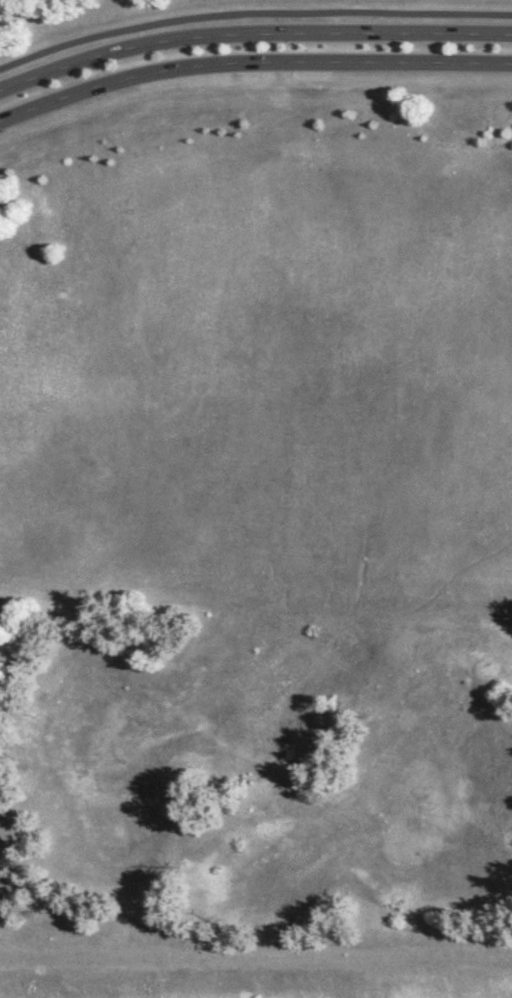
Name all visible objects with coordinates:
road: (252, 16)
road: (251, 34)
road: (251, 65)

